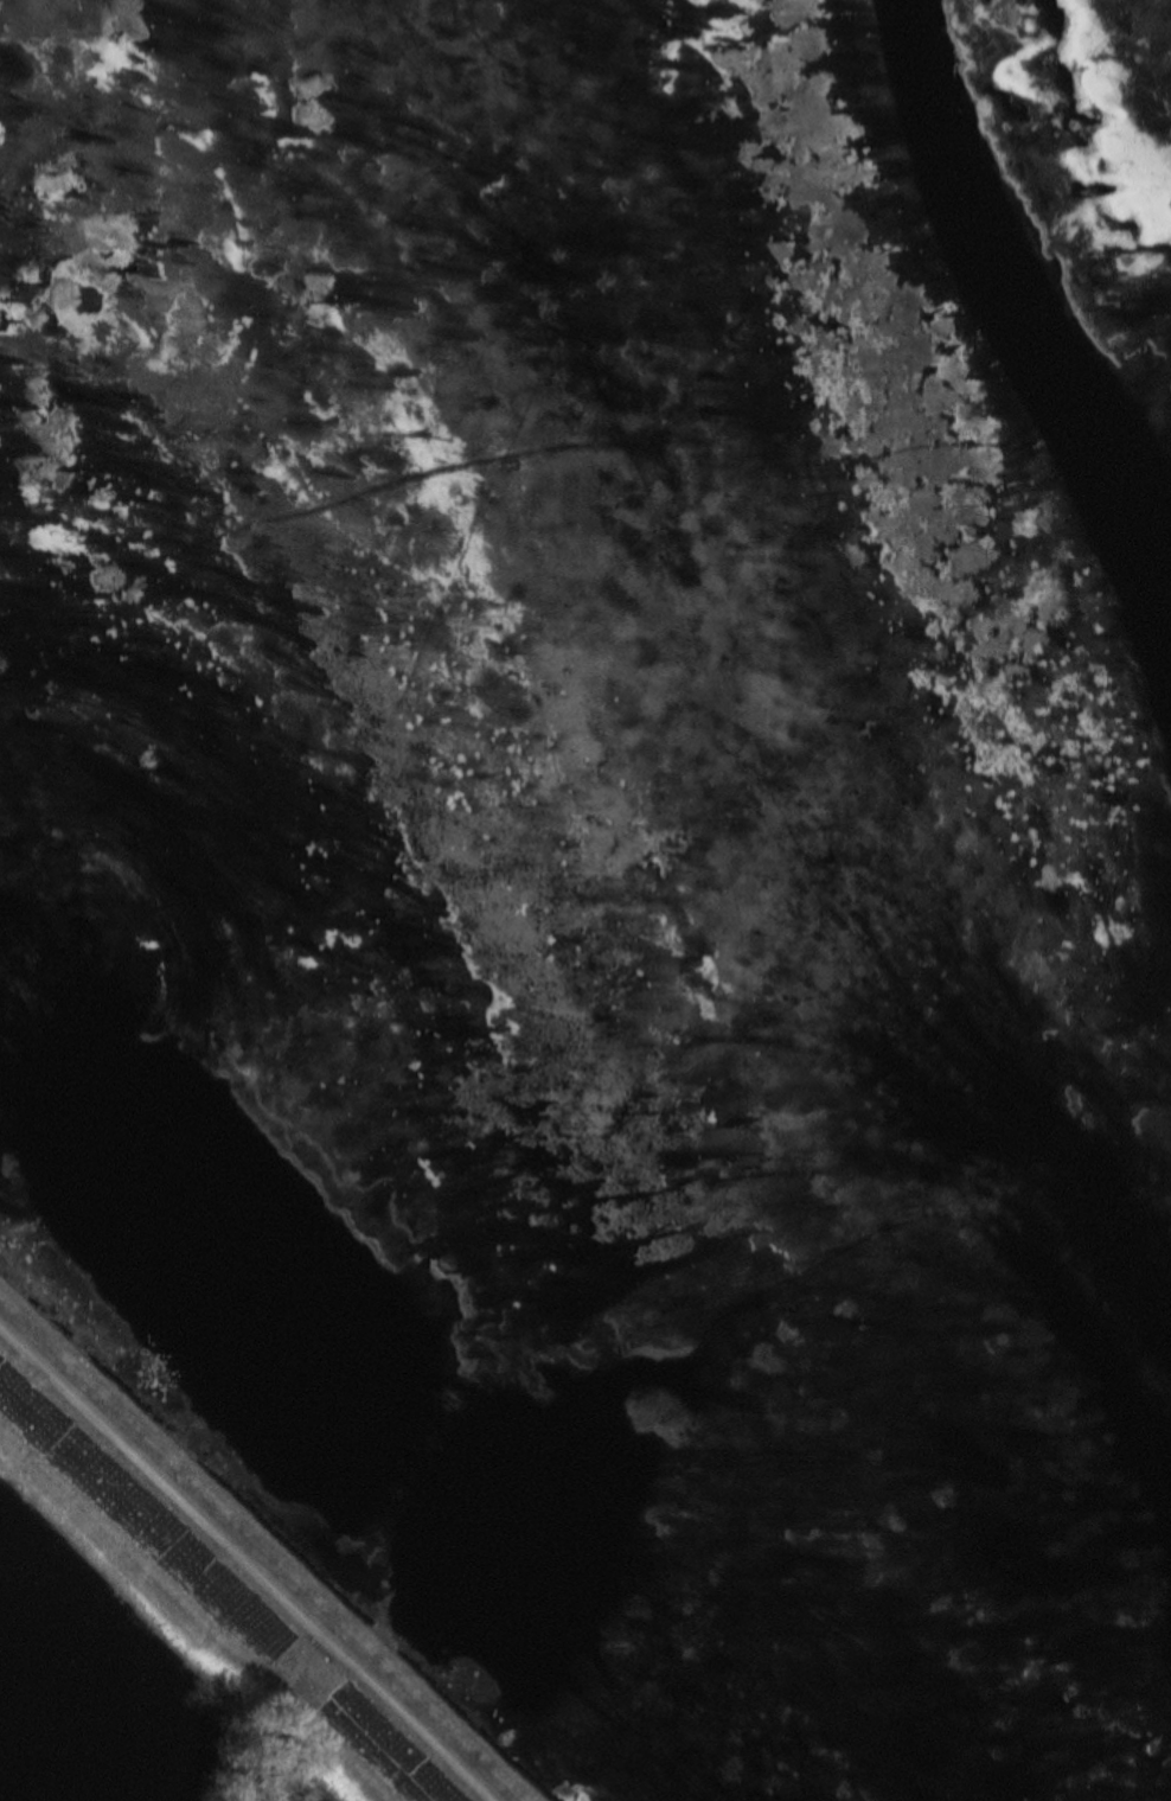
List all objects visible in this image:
dam: (233, 1576)

